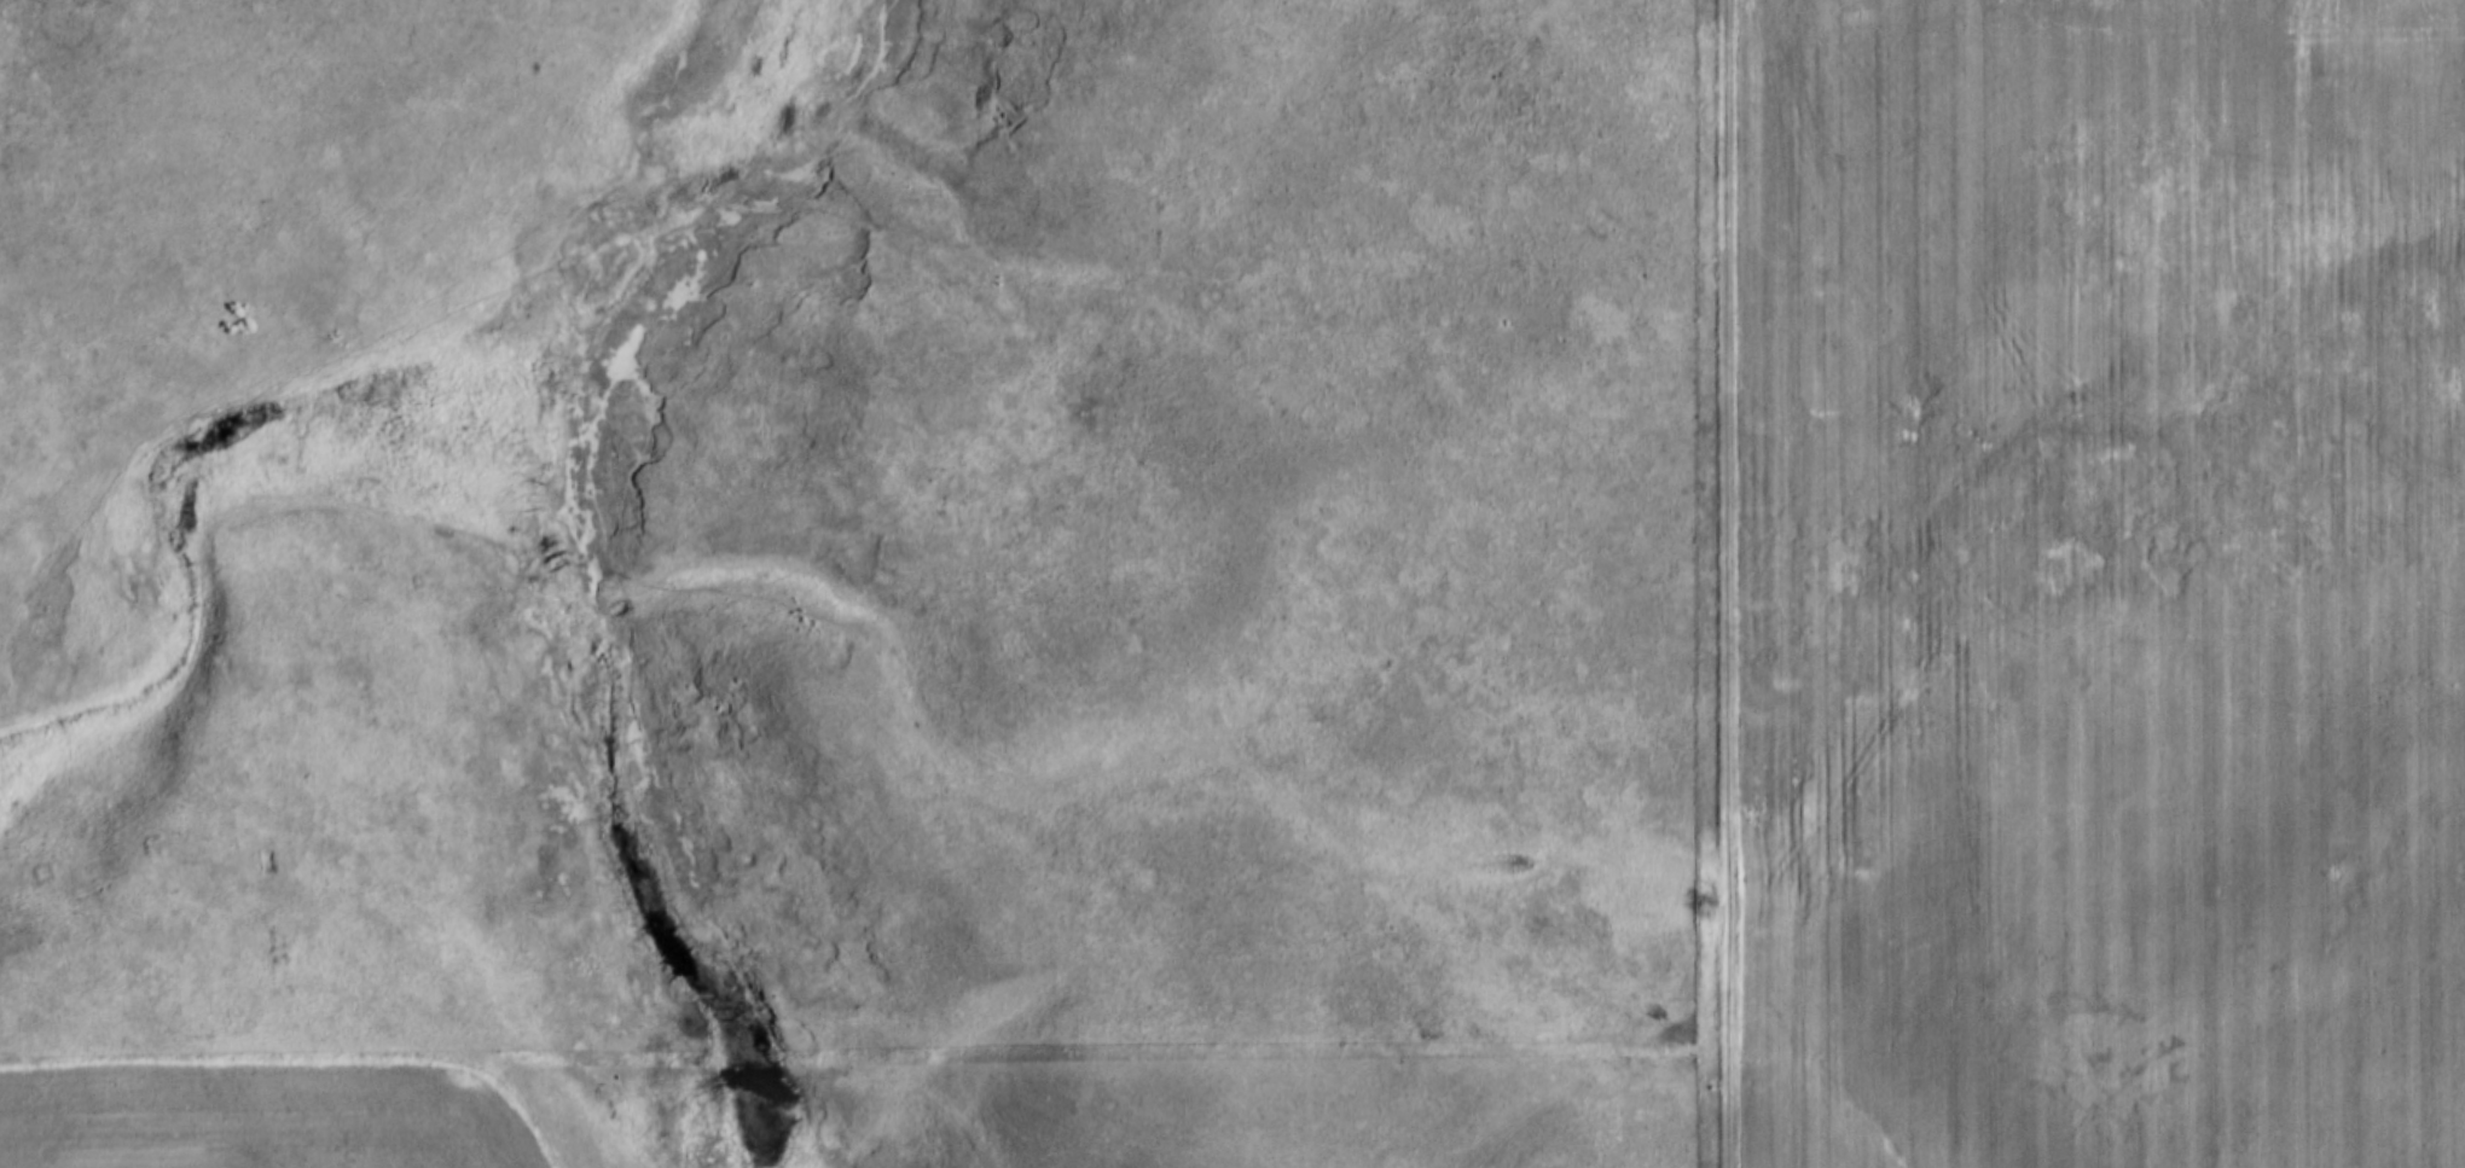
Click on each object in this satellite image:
road: (1734, 583)

